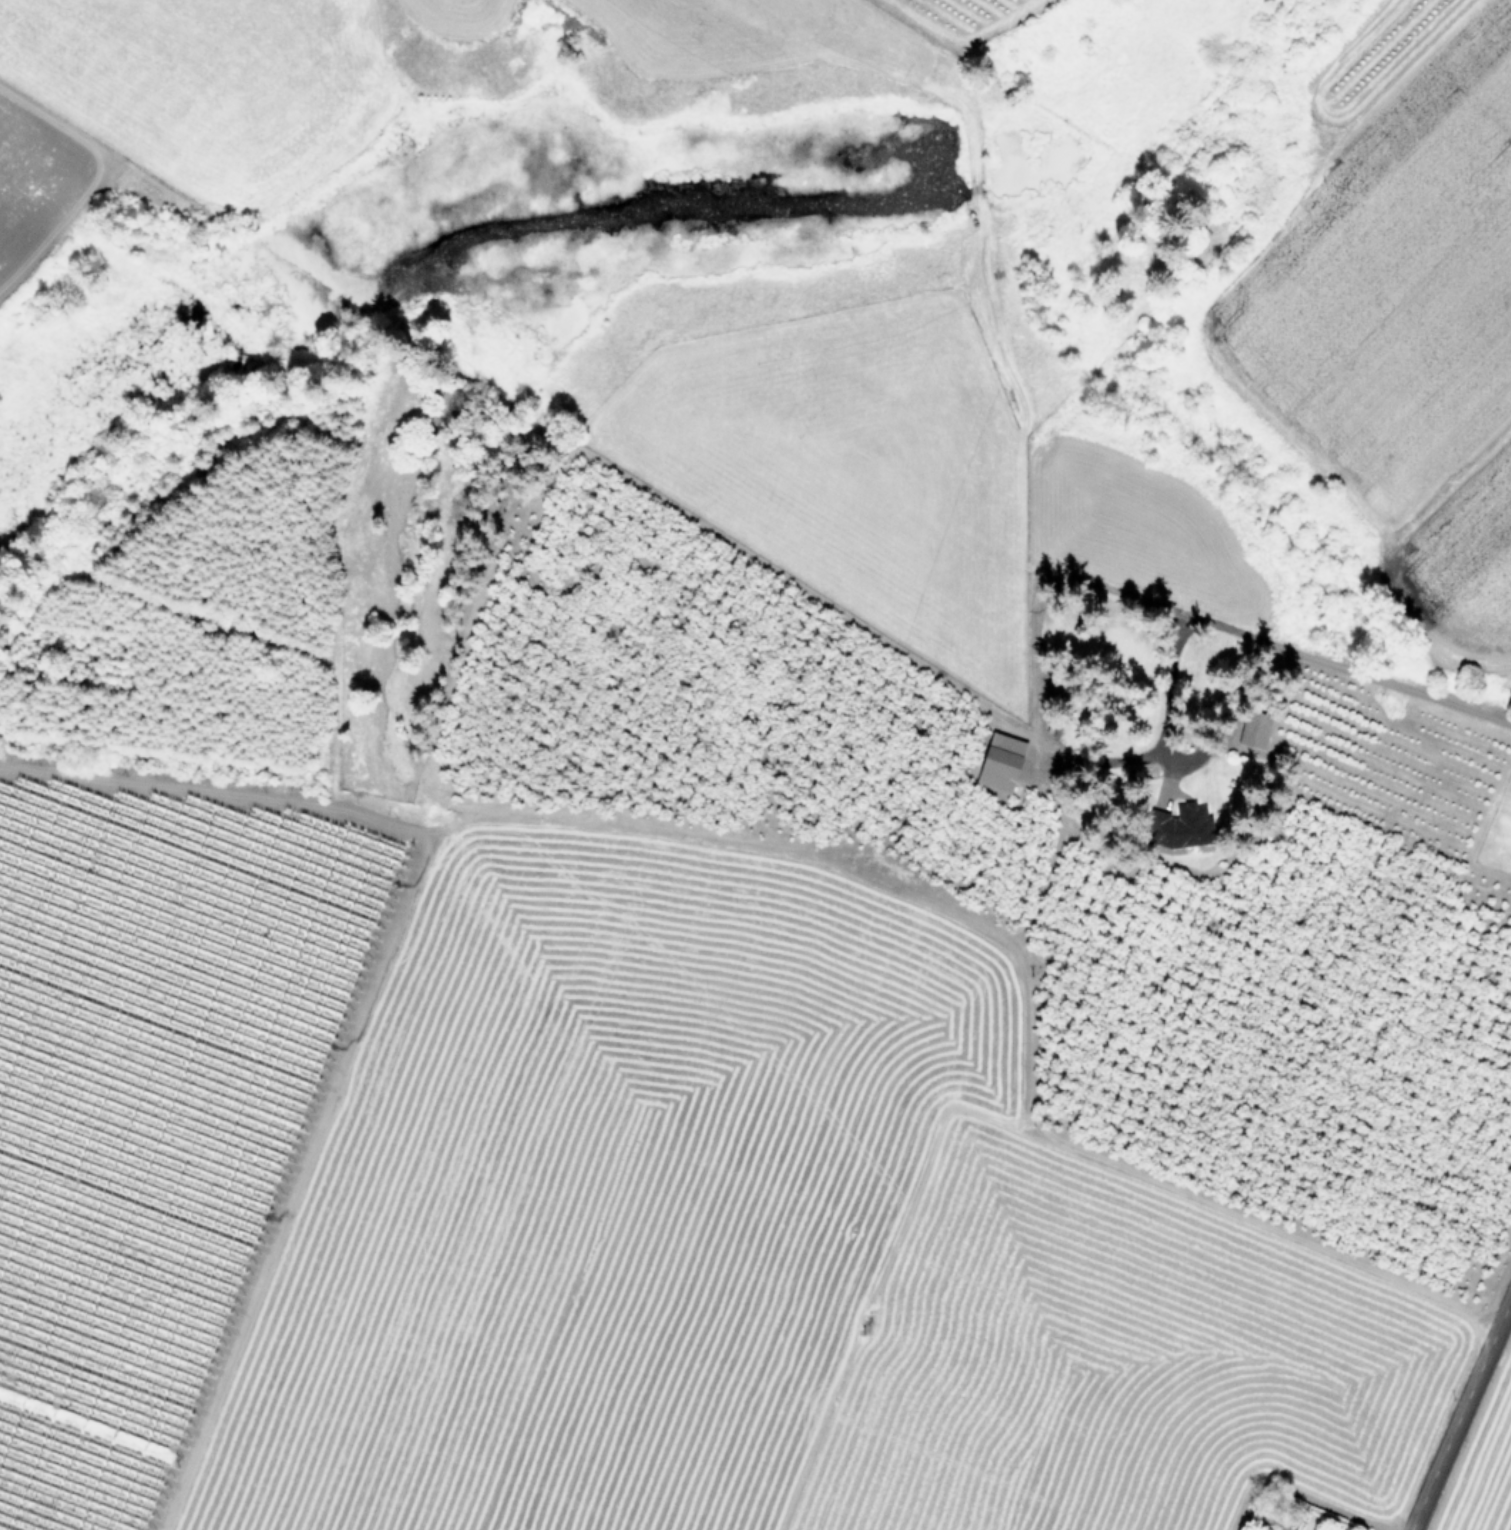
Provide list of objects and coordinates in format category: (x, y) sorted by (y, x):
crop: (37, 185)
crop: (1371, 394)
road: (1352, 671)
road: (1034, 711)
building: (1069, 722)
building: (1249, 738)
building: (1000, 763)
crop: (618, 1206)
road: (1459, 1411)

